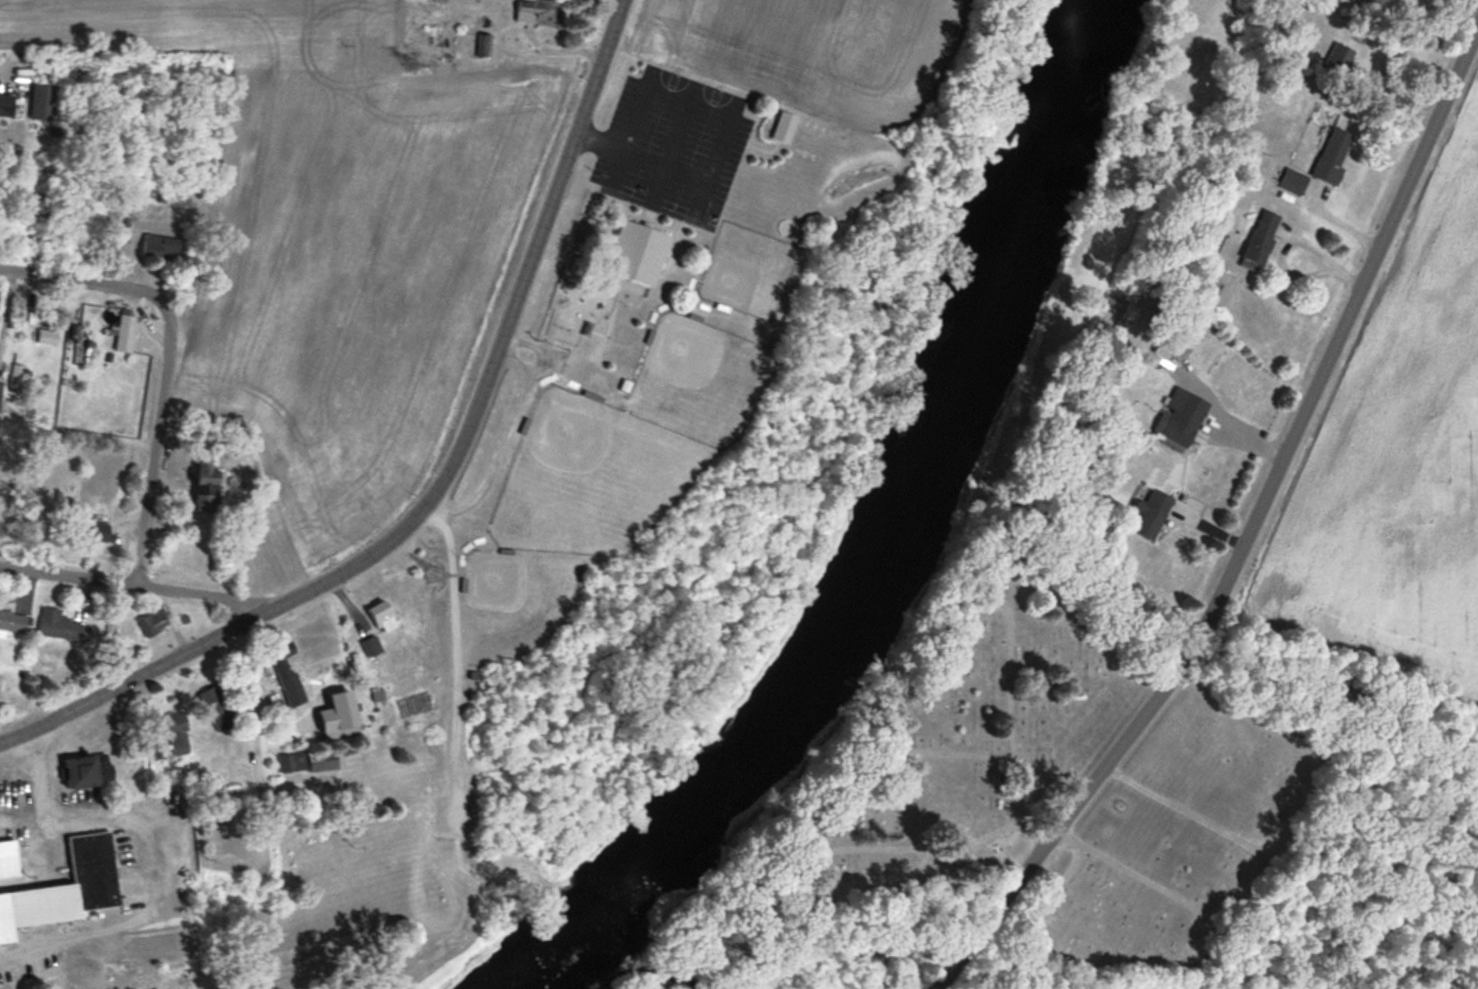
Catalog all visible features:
building: (539, 11)
building: (484, 43)
building: (1338, 58)
power tower: (418, 61)
building: (43, 100)
building: (8, 104)
building: (1333, 153)
building: (1292, 180)
building: (1260, 237)
building: (1213, 240)
road: (1289, 244)
building: (159, 245)
building: (638, 250)
road: (83, 285)
building: (125, 331)
building: (47, 335)
building: (1163, 347)
building: (0, 384)
building: (1181, 415)
road: (155, 445)
building: (206, 484)
road: (444, 487)
building: (1151, 511)
building: (95, 529)
road: (1255, 537)
river: (903, 546)
power tower: (432, 581)
road: (137, 583)
building: (383, 614)
building: (15, 620)
building: (153, 621)
building: (61, 624)
building: (371, 644)
building: (285, 670)
building: (217, 706)
road: (297, 724)
building: (177, 731)
building: (326, 759)
building: (288, 763)
building: (82, 770)
park: (1077, 778)
road: (43, 788)
building: (232, 834)
building: (8, 858)
road: (147, 866)
building: (71, 884)

